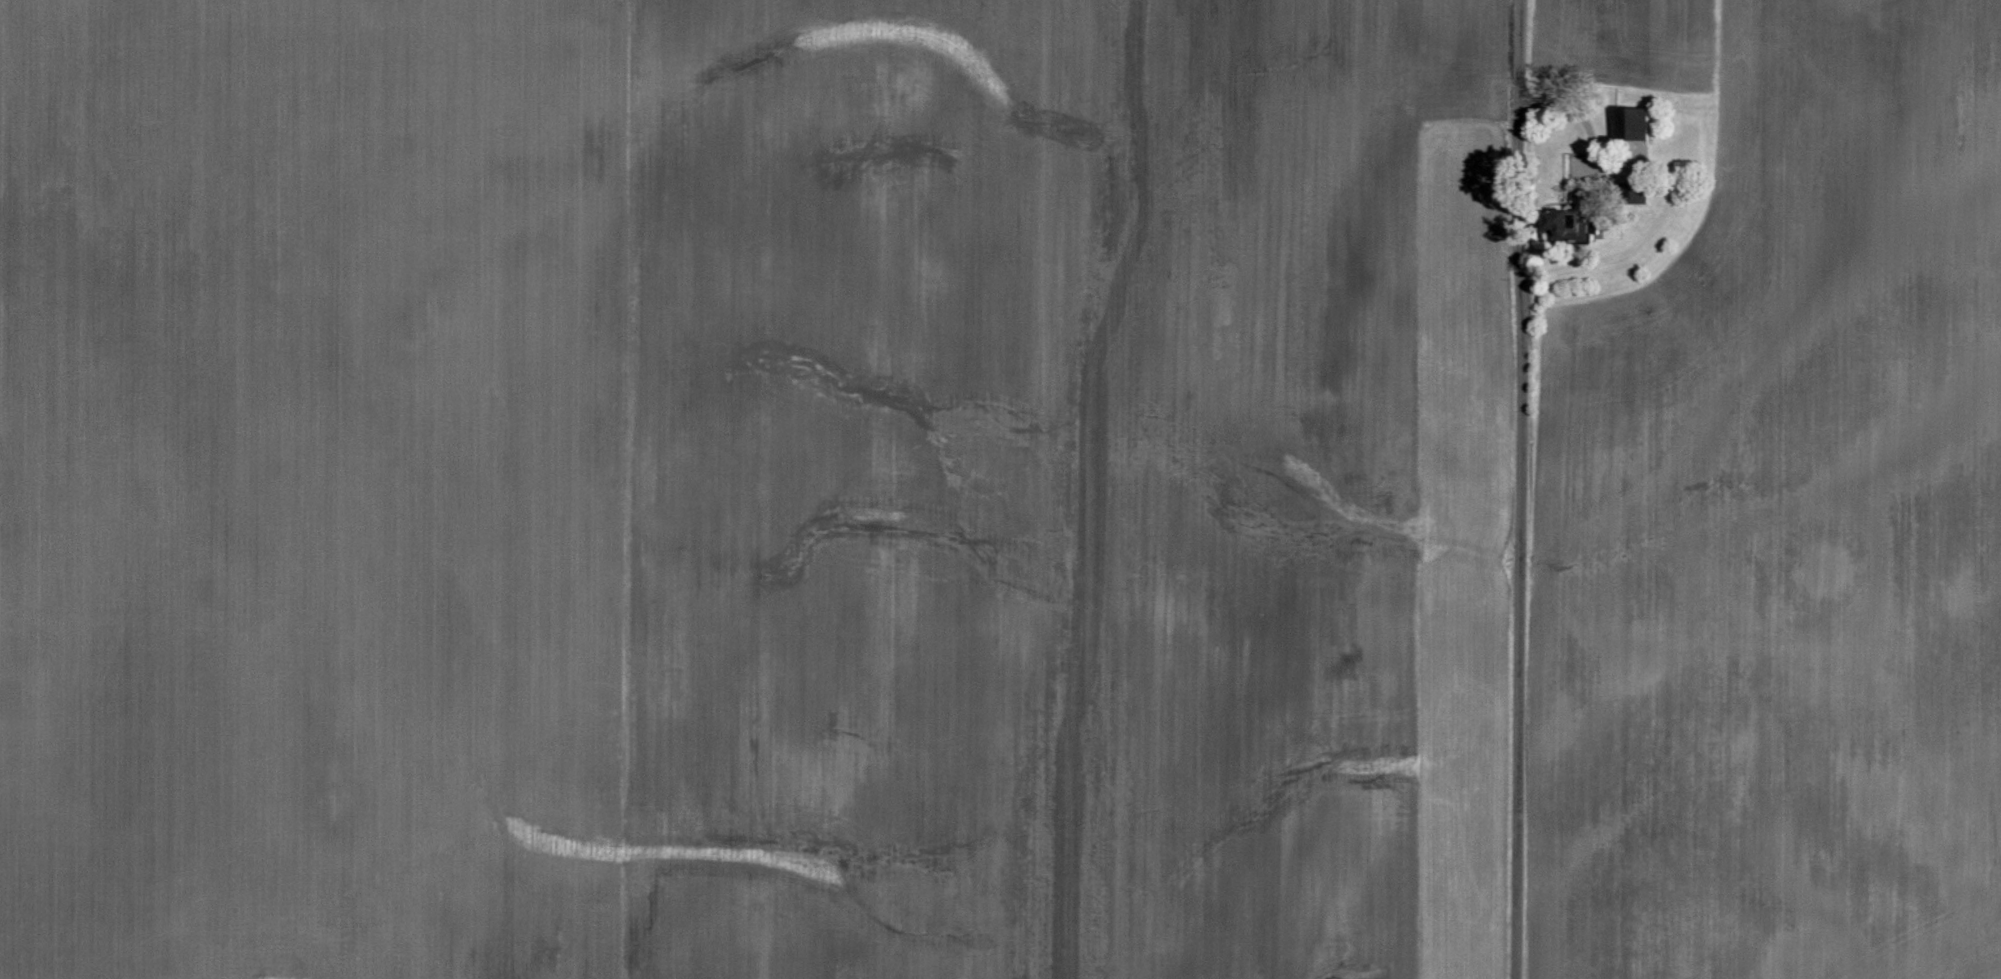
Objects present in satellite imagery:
building: (1629, 124)
building: (1635, 193)
road: (1516, 489)

